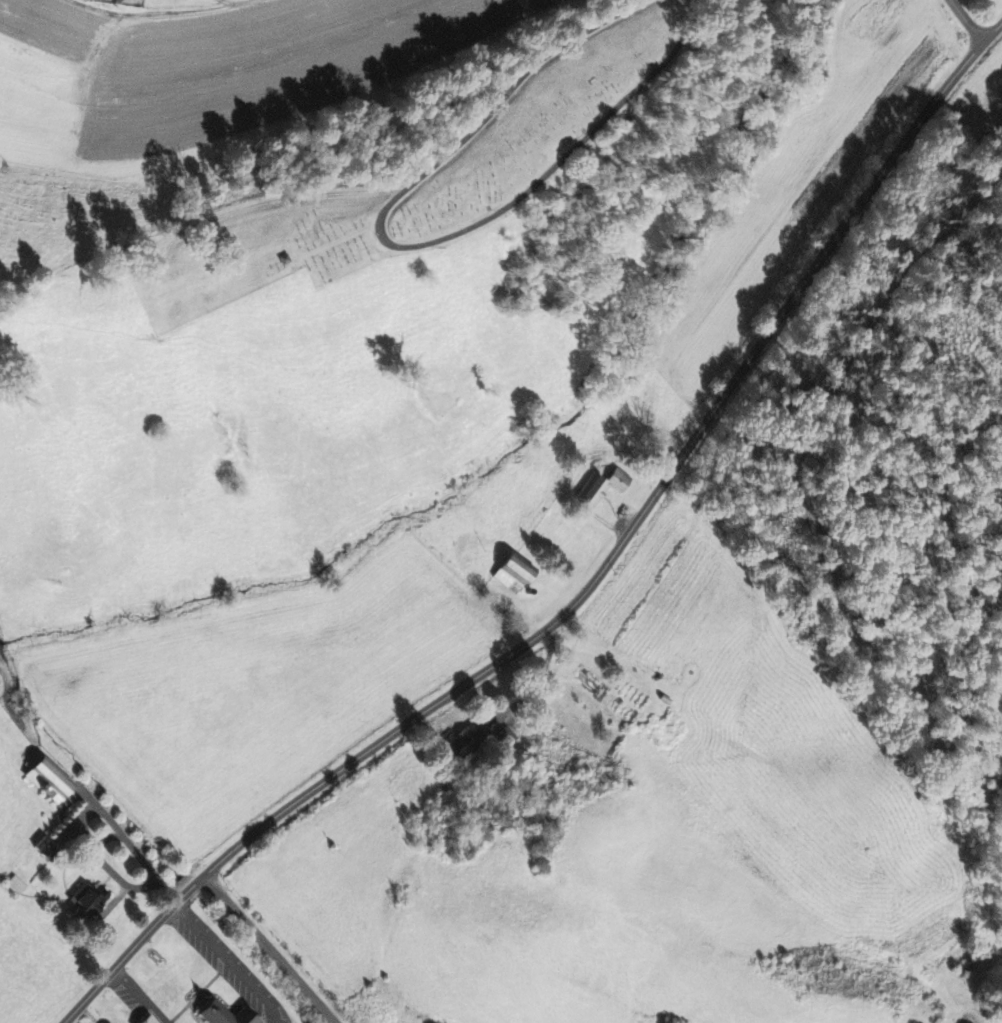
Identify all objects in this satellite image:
road: (972, 20)
park: (419, 177)
road: (409, 243)
building: (599, 486)
building: (510, 571)
road: (594, 585)
building: (0, 699)
building: (462, 741)
building: (49, 777)
road: (133, 845)
building: (48, 846)
building: (87, 902)
road: (270, 948)
road: (230, 960)
road: (143, 995)
building: (224, 1013)
building: (151, 1019)

